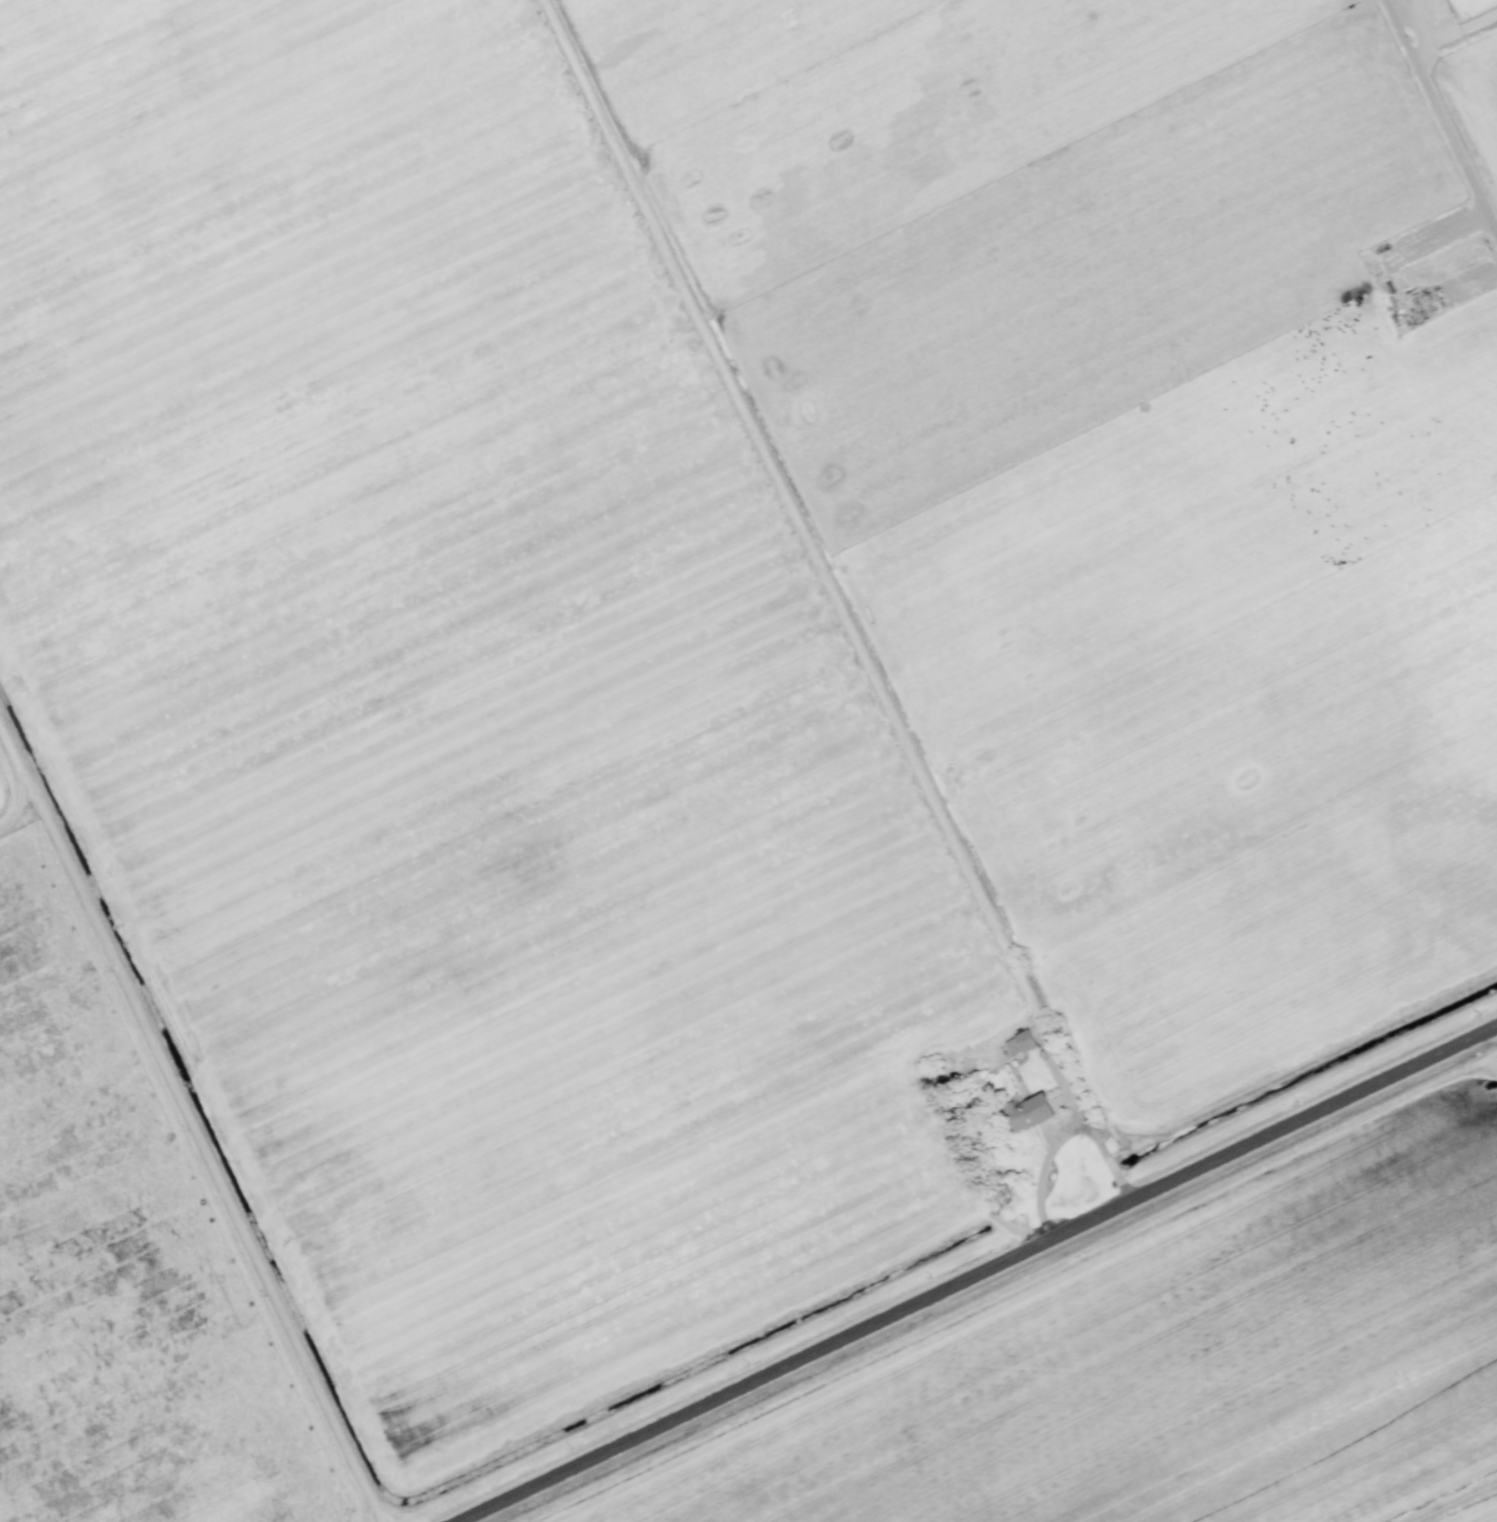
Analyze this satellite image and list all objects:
road: (1441, 115)
building: (1019, 1044)
road: (1066, 1086)
building: (1028, 1113)
road: (1061, 1136)
road: (980, 1275)

